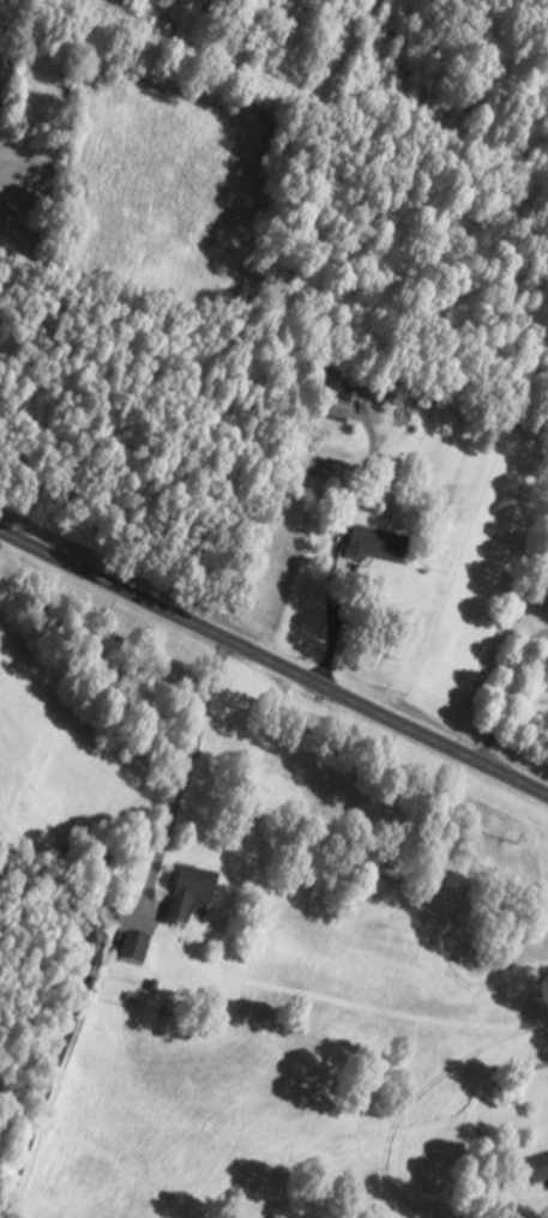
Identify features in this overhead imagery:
building: (338, 400)
building: (378, 548)
road: (273, 664)
building: (191, 898)
building: (134, 951)
road: (74, 1026)
building: (537, 1174)

